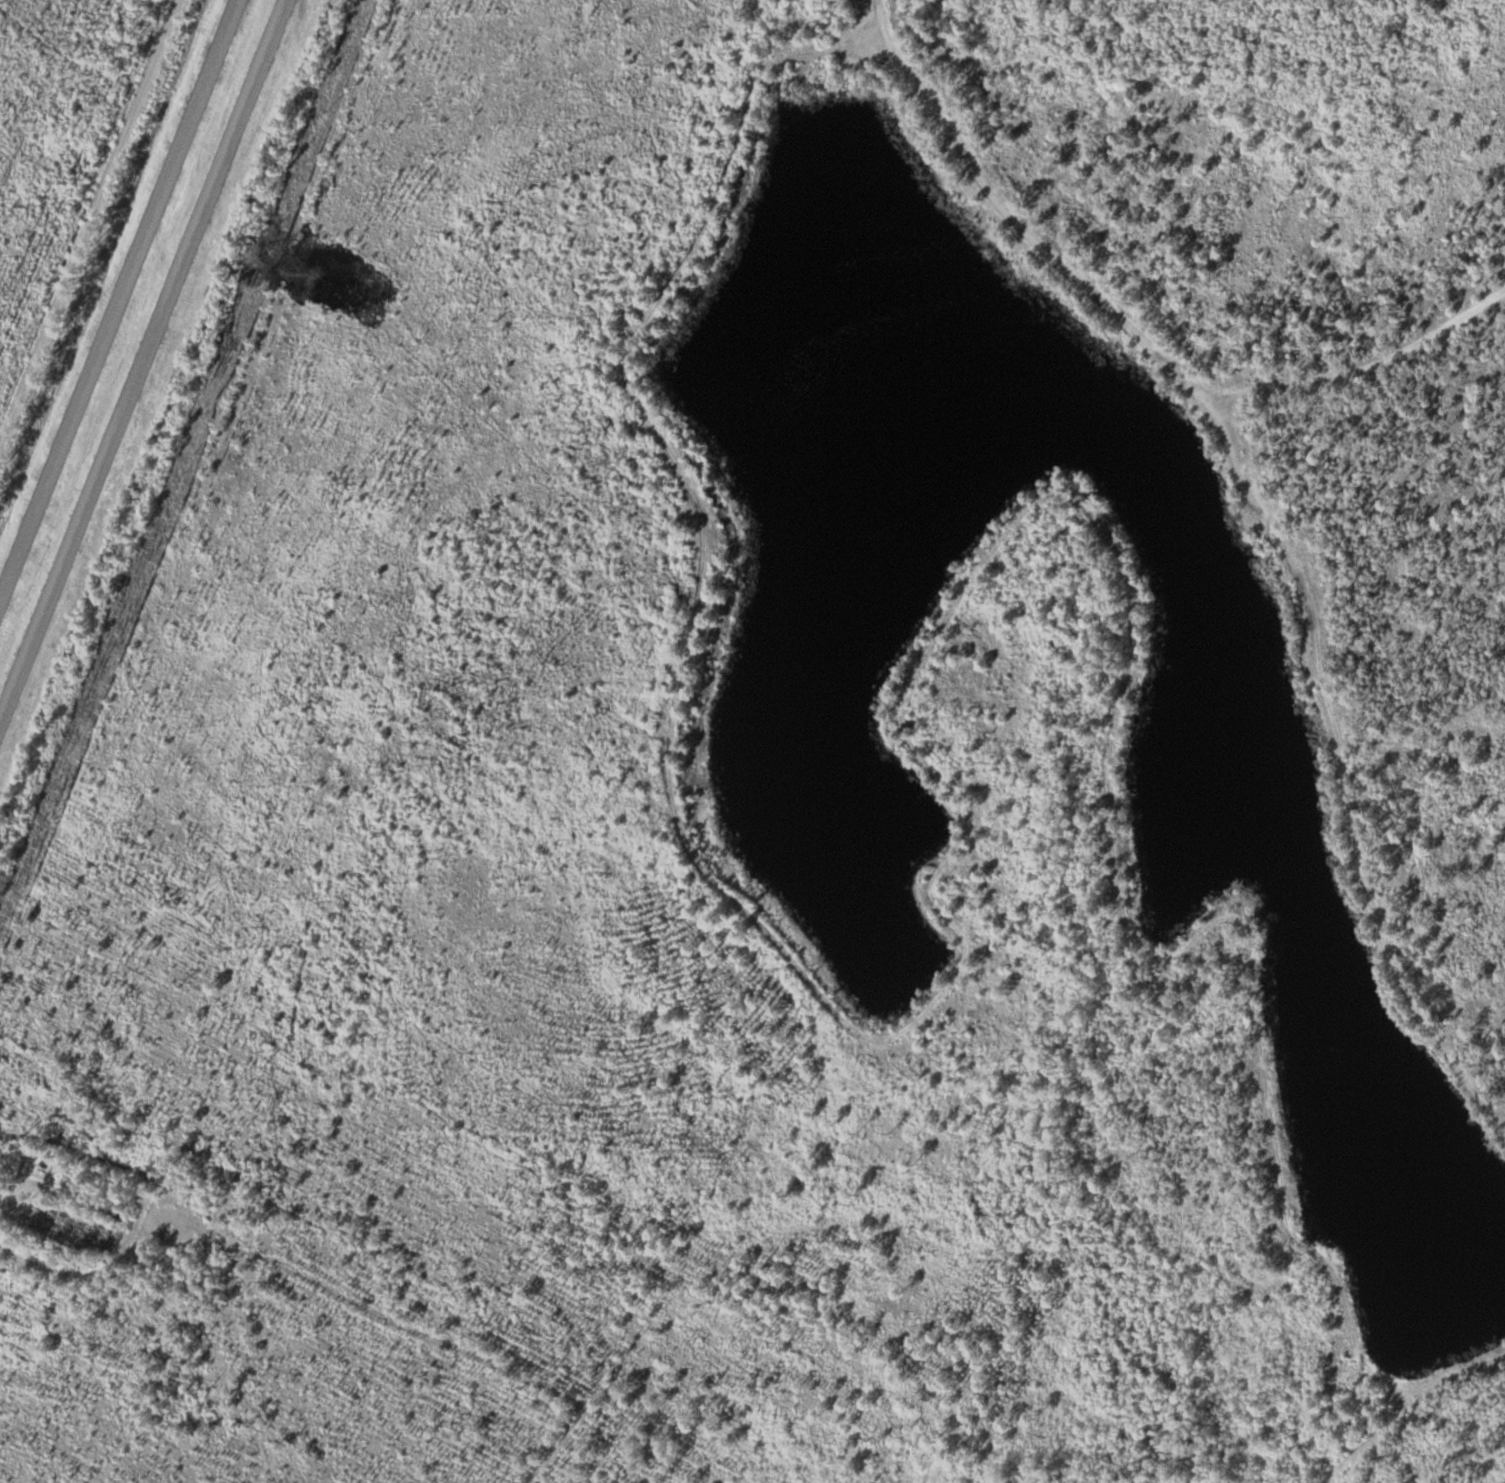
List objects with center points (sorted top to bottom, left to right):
road: (878, 10)
road: (87, 221)
road: (87, 221)
road: (1027, 230)
road: (120, 304)
road: (142, 361)
road: (1368, 364)
road: (934, 770)
road: (1345, 773)

